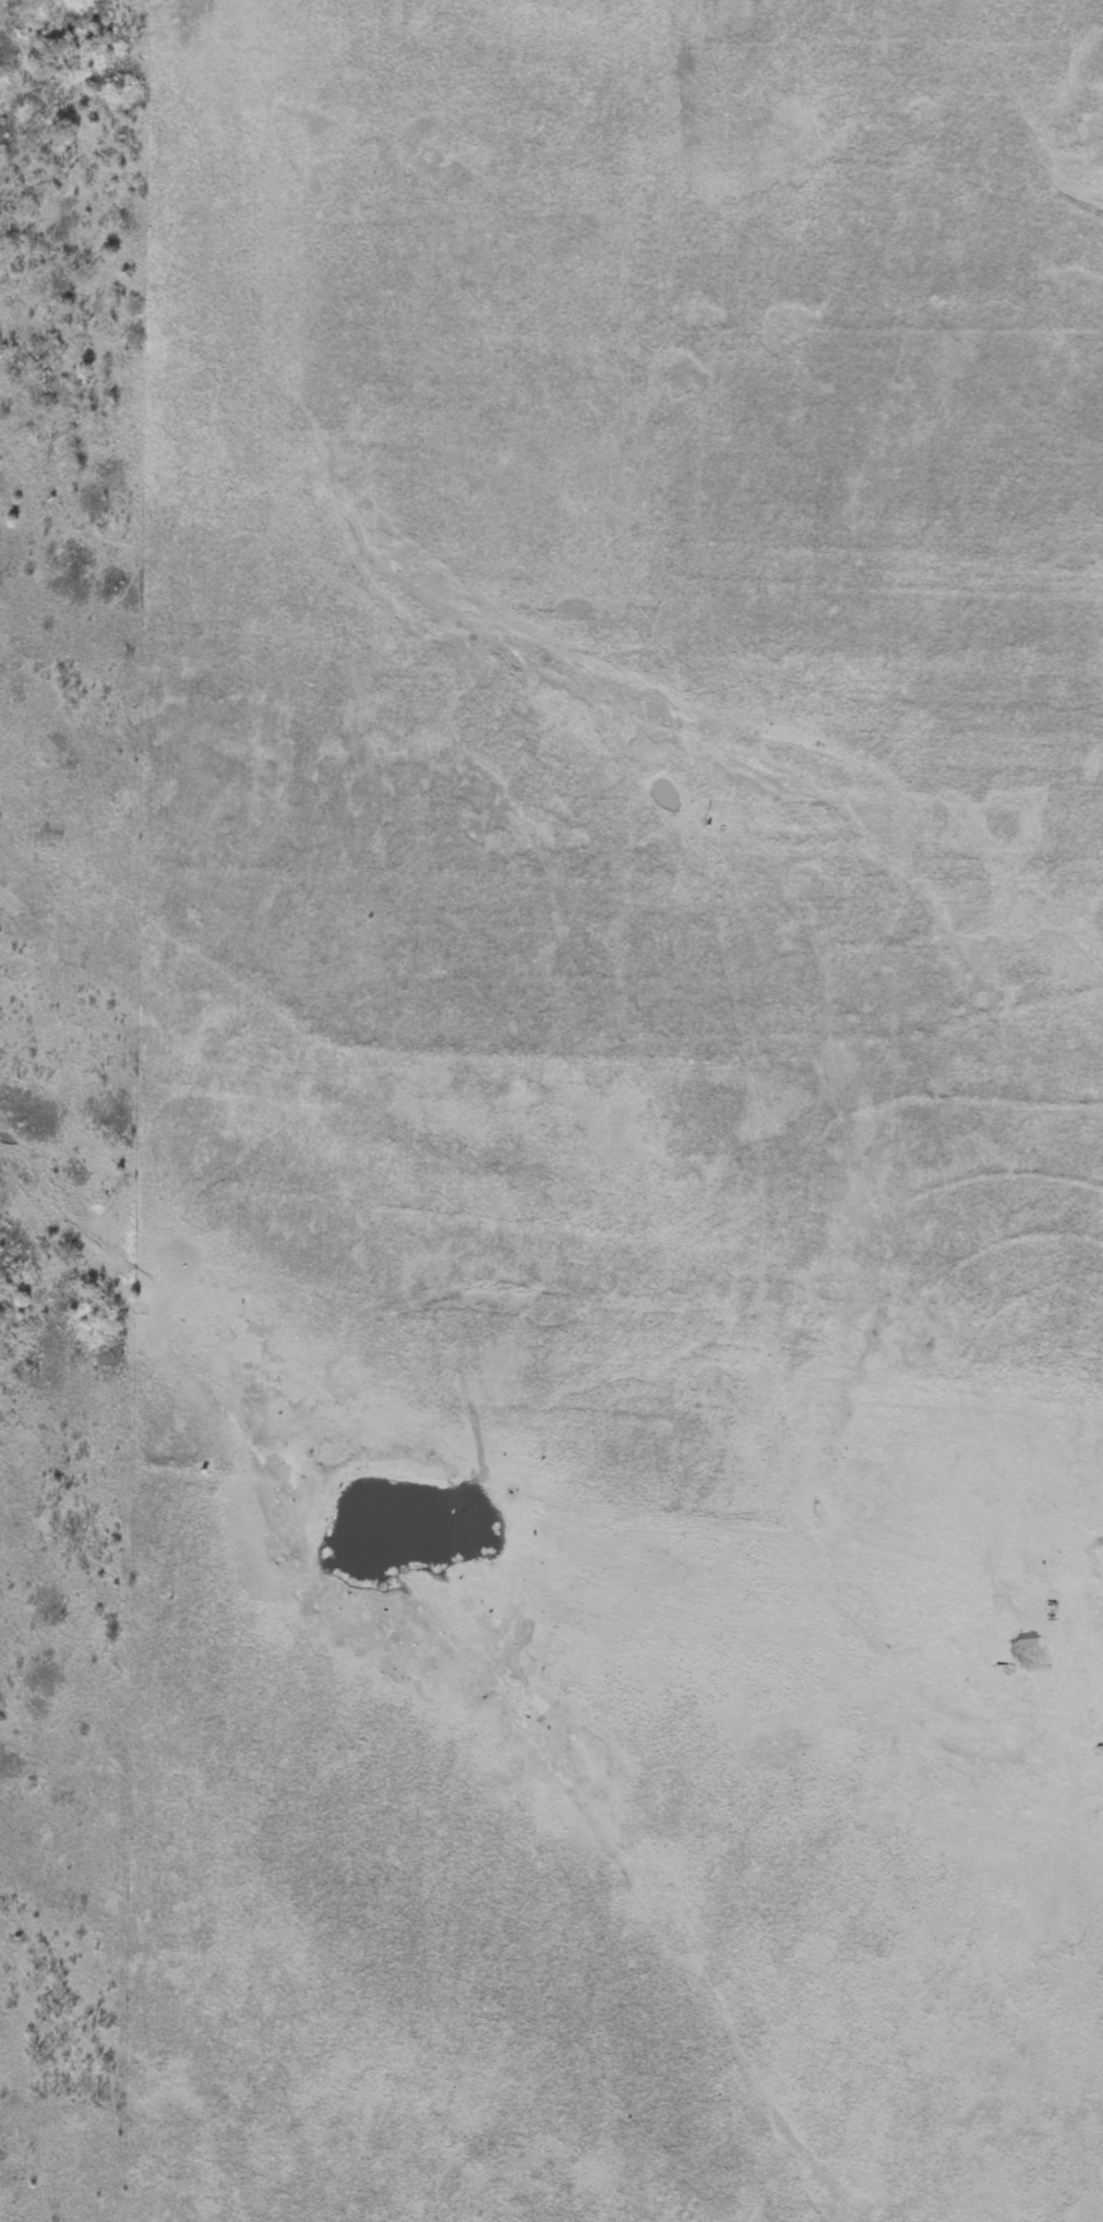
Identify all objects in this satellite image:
building: (1027, 1656)

